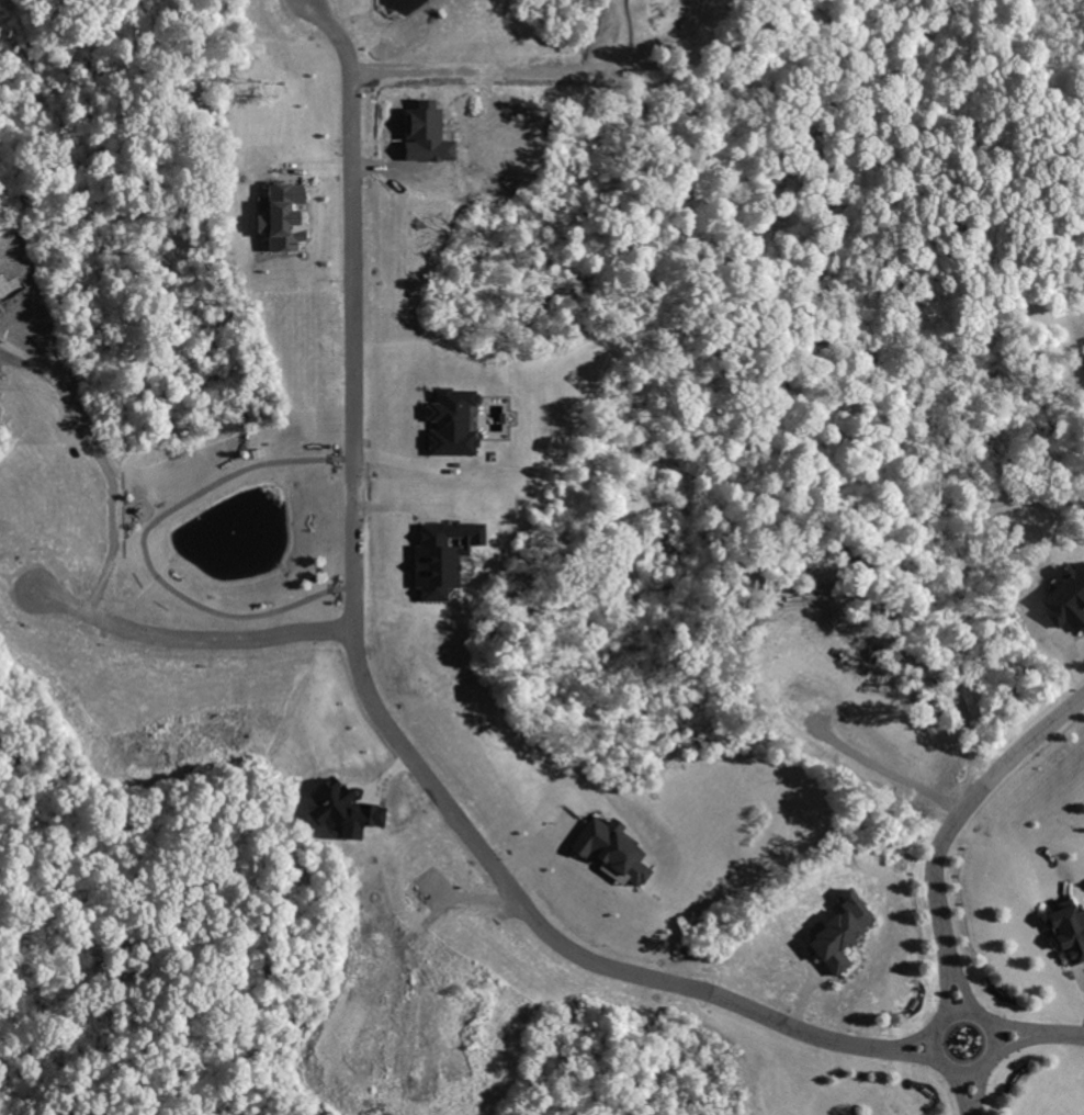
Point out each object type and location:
building: (281, 218)
building: (451, 424)
road: (97, 464)
building: (441, 557)
road: (351, 576)
building: (1066, 600)
road: (189, 642)
road: (968, 804)
building: (341, 813)
building: (610, 851)
building: (1069, 932)
building: (840, 934)
road: (950, 983)
road: (966, 987)
road: (791, 1025)
road: (1019, 1027)
road: (1065, 1035)
road: (917, 1038)
road: (1020, 1043)
road: (915, 1052)
road: (972, 1068)
road: (981, 1088)
road: (961, 1089)
building: (855, 1114)

